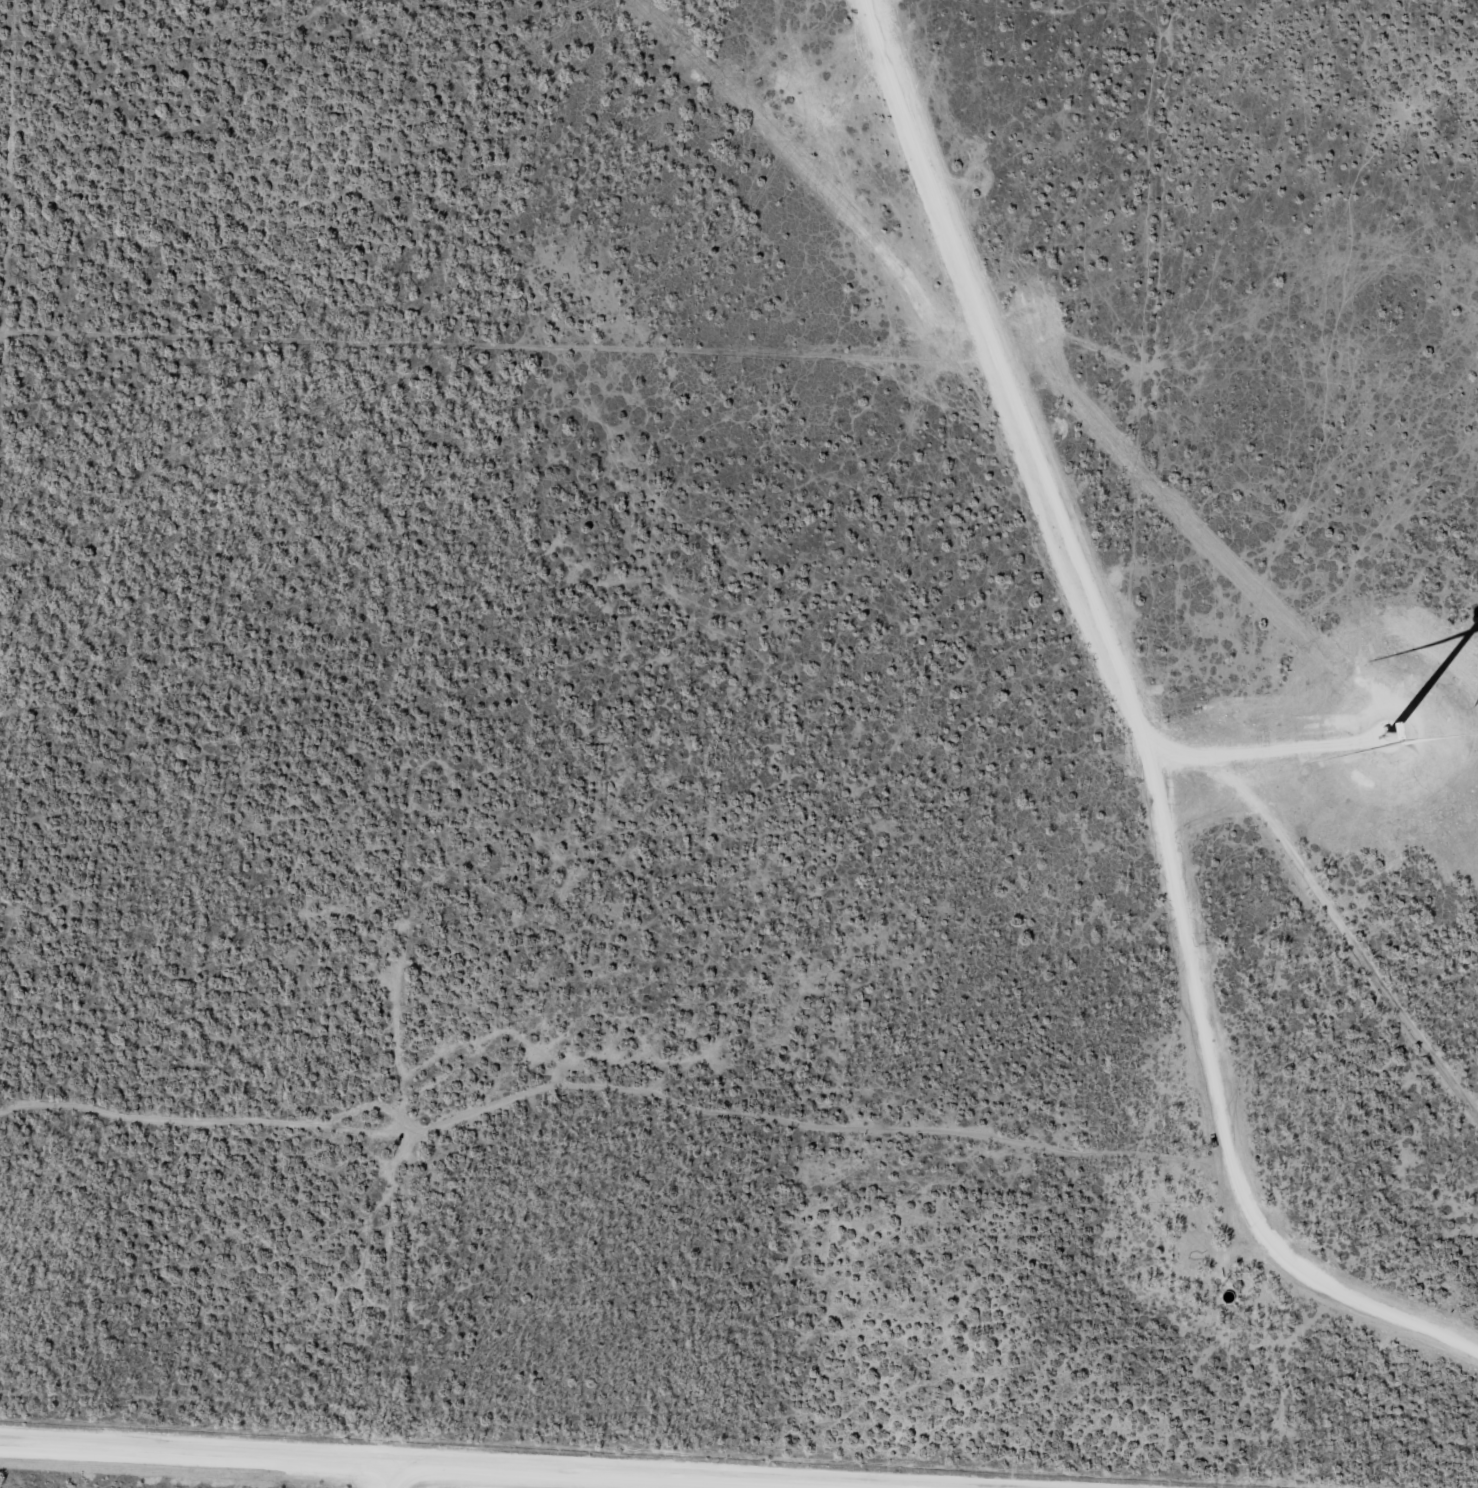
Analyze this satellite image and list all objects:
road: (1086, 609)
wind turbine: (1398, 736)
road: (535, 1459)

